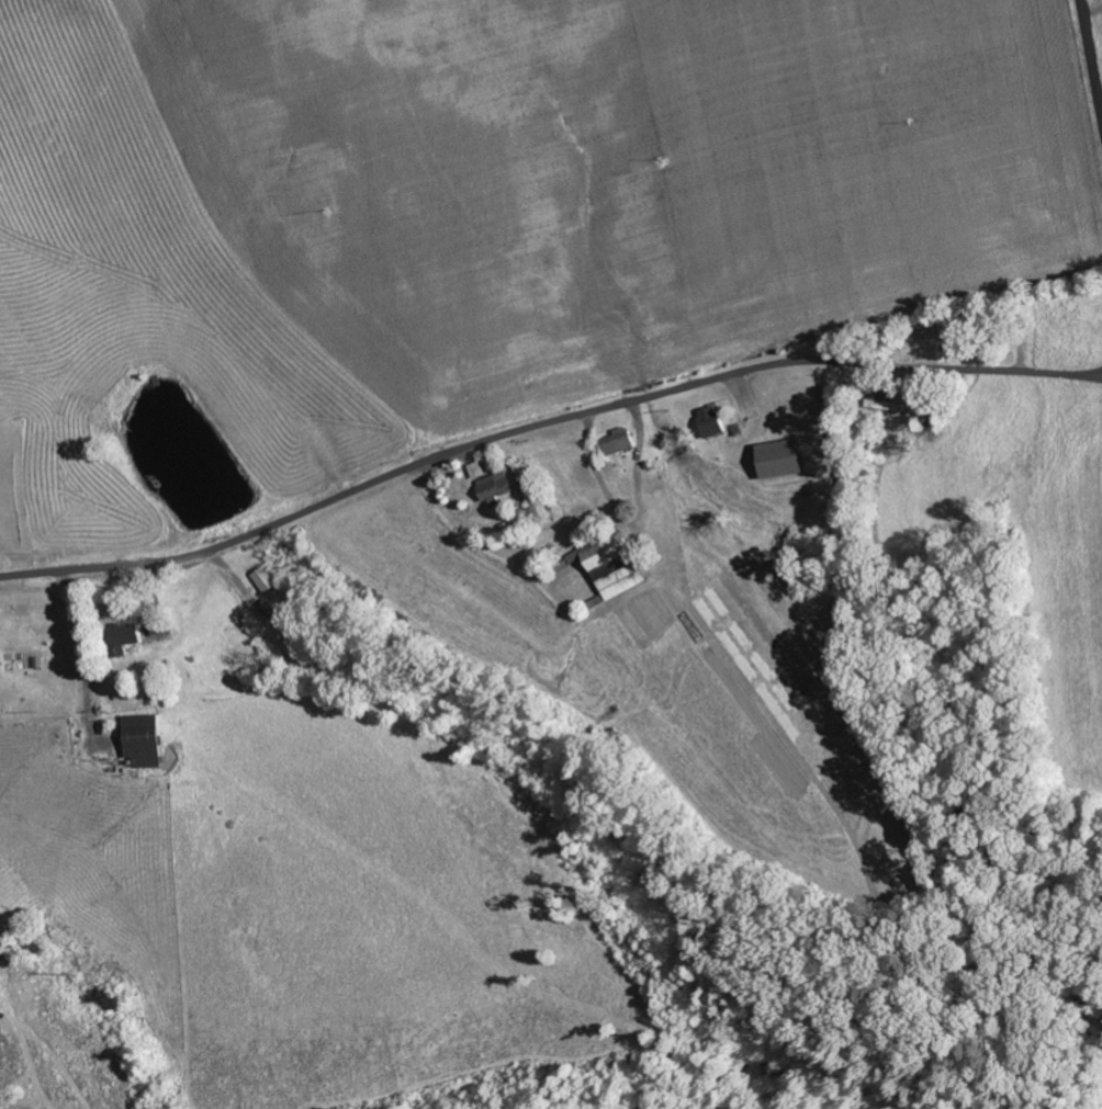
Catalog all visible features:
road: (1090, 61)
road: (1092, 374)
road: (542, 425)

